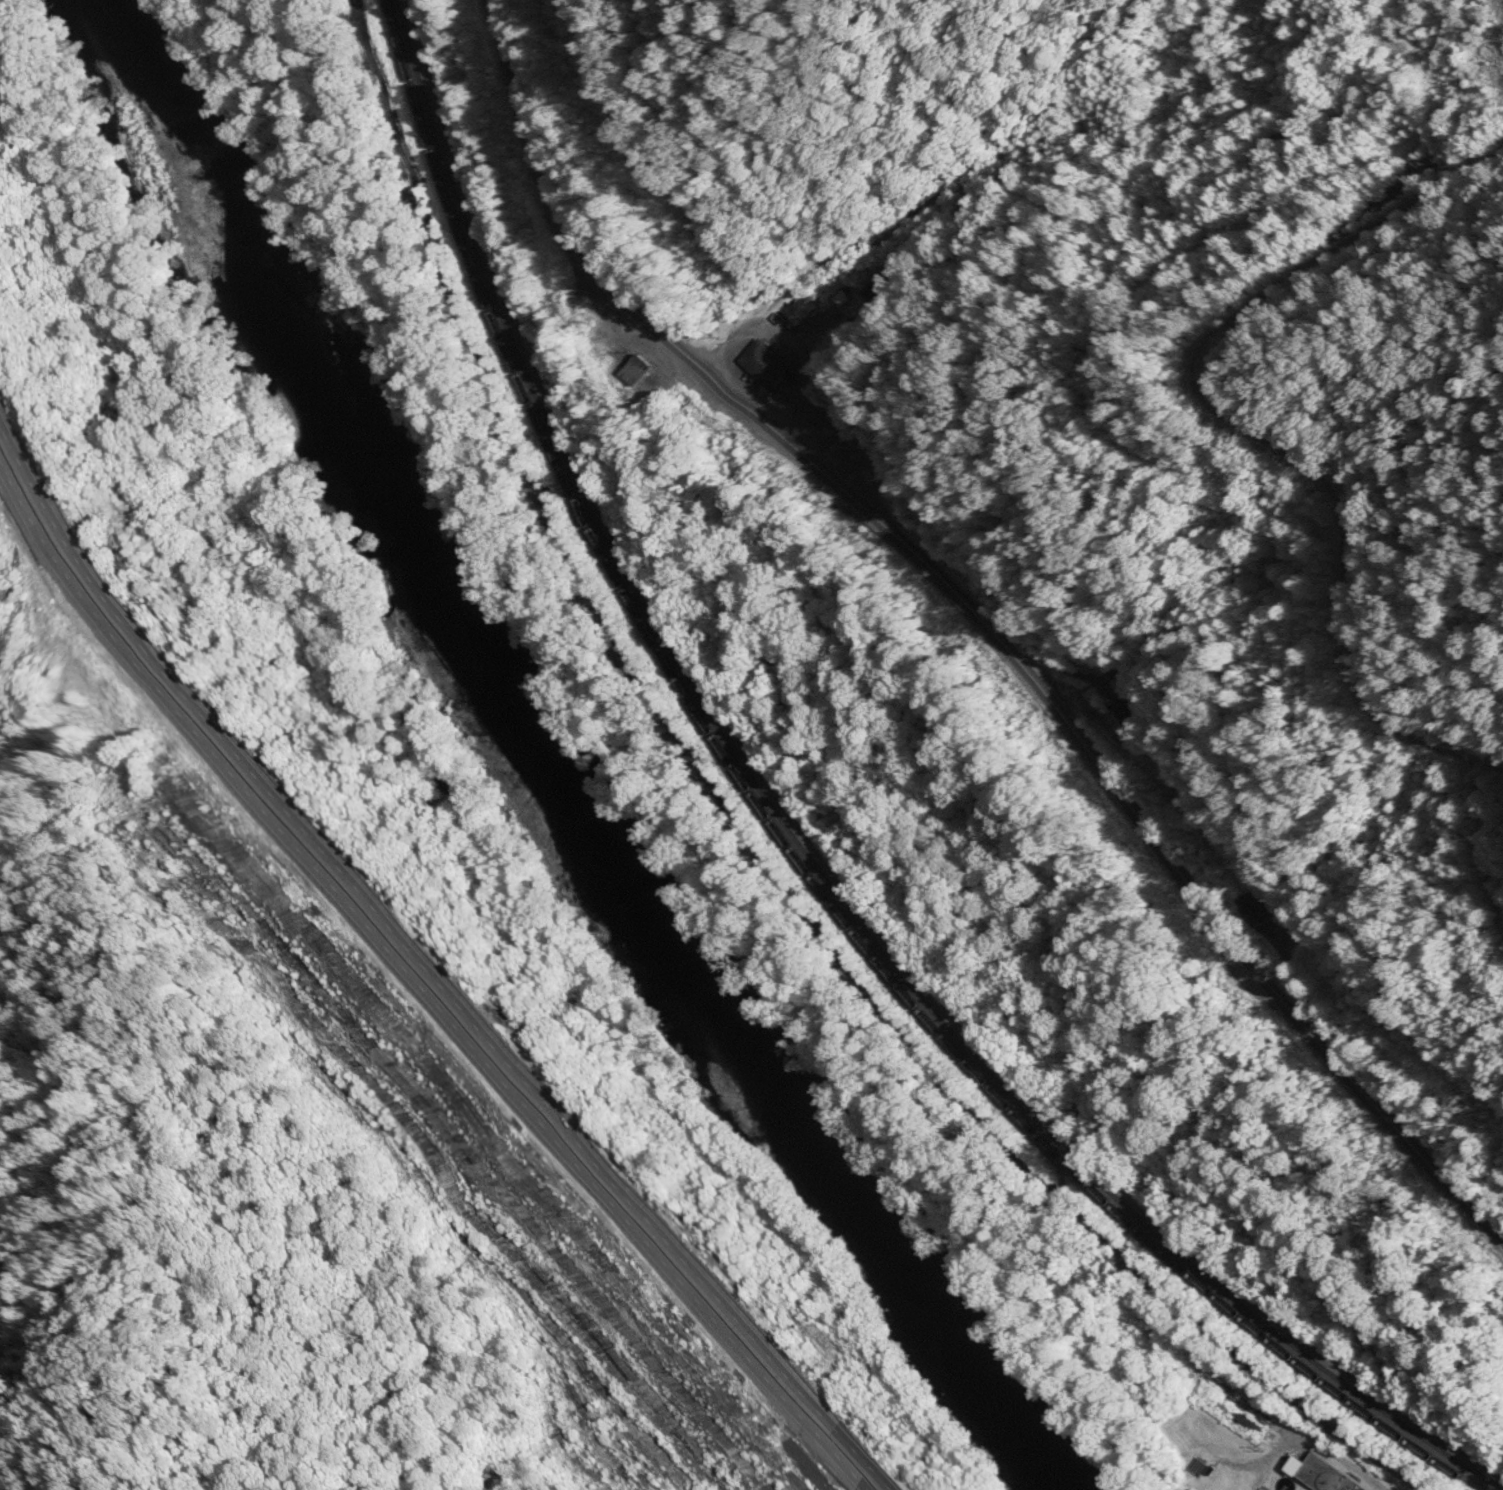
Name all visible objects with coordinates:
building: (800, 312)
building: (769, 361)
building: (634, 368)
road: (982, 617)
building: (1123, 682)
building: (1133, 708)
river: (540, 764)
railway: (809, 850)
building: (1260, 907)
road: (428, 967)
road: (415, 988)
building: (1326, 1475)

